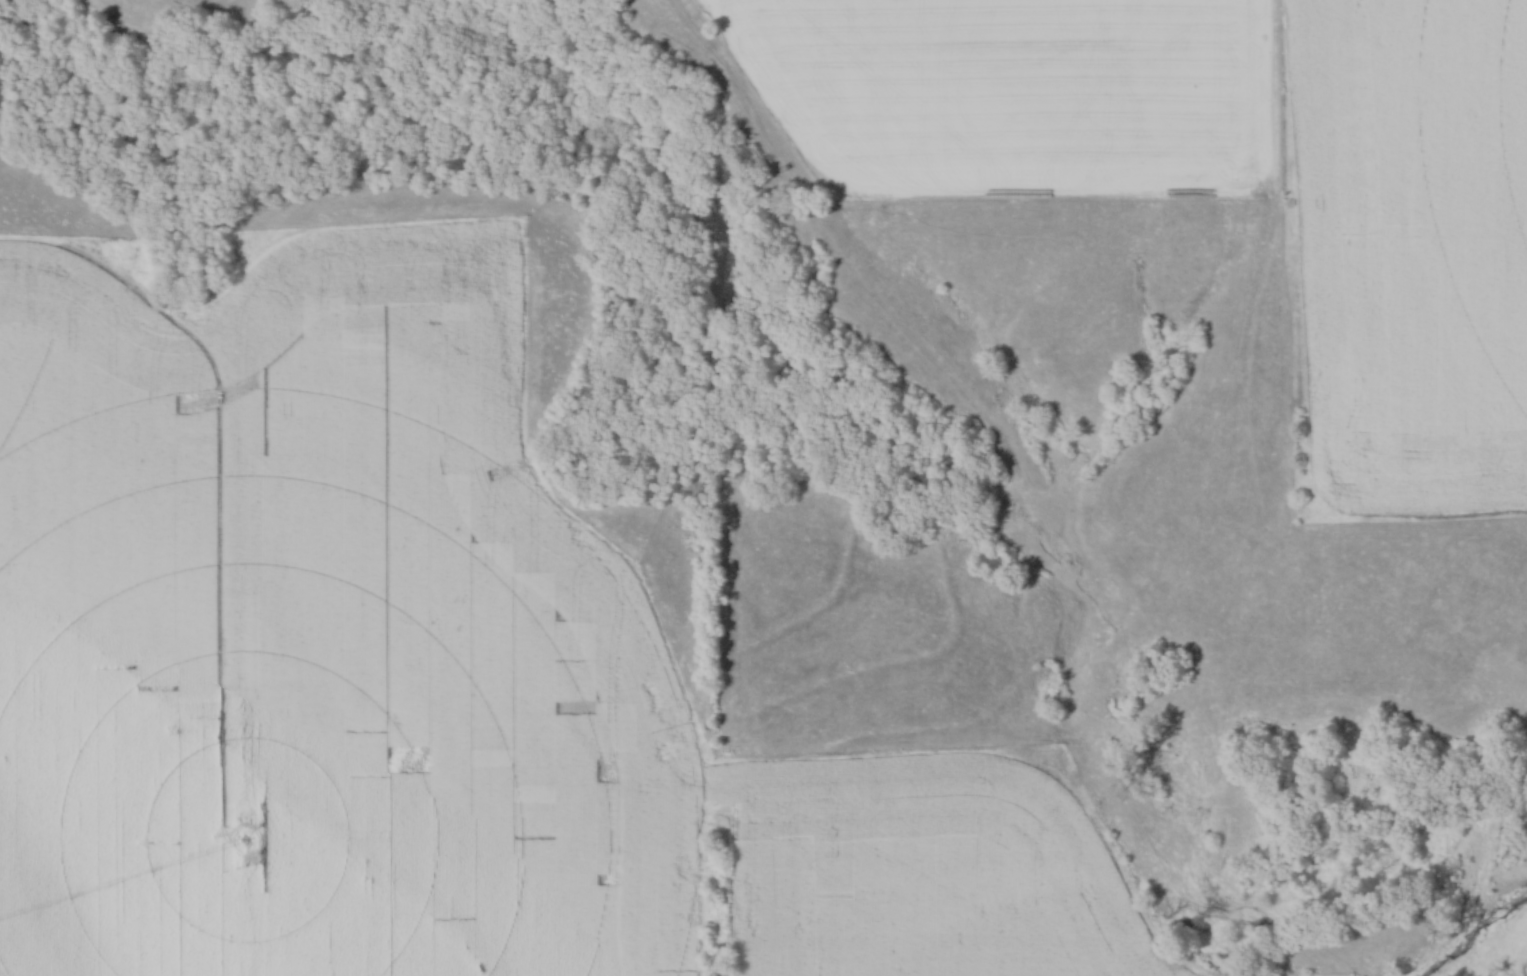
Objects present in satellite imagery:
river: (1472, 932)

